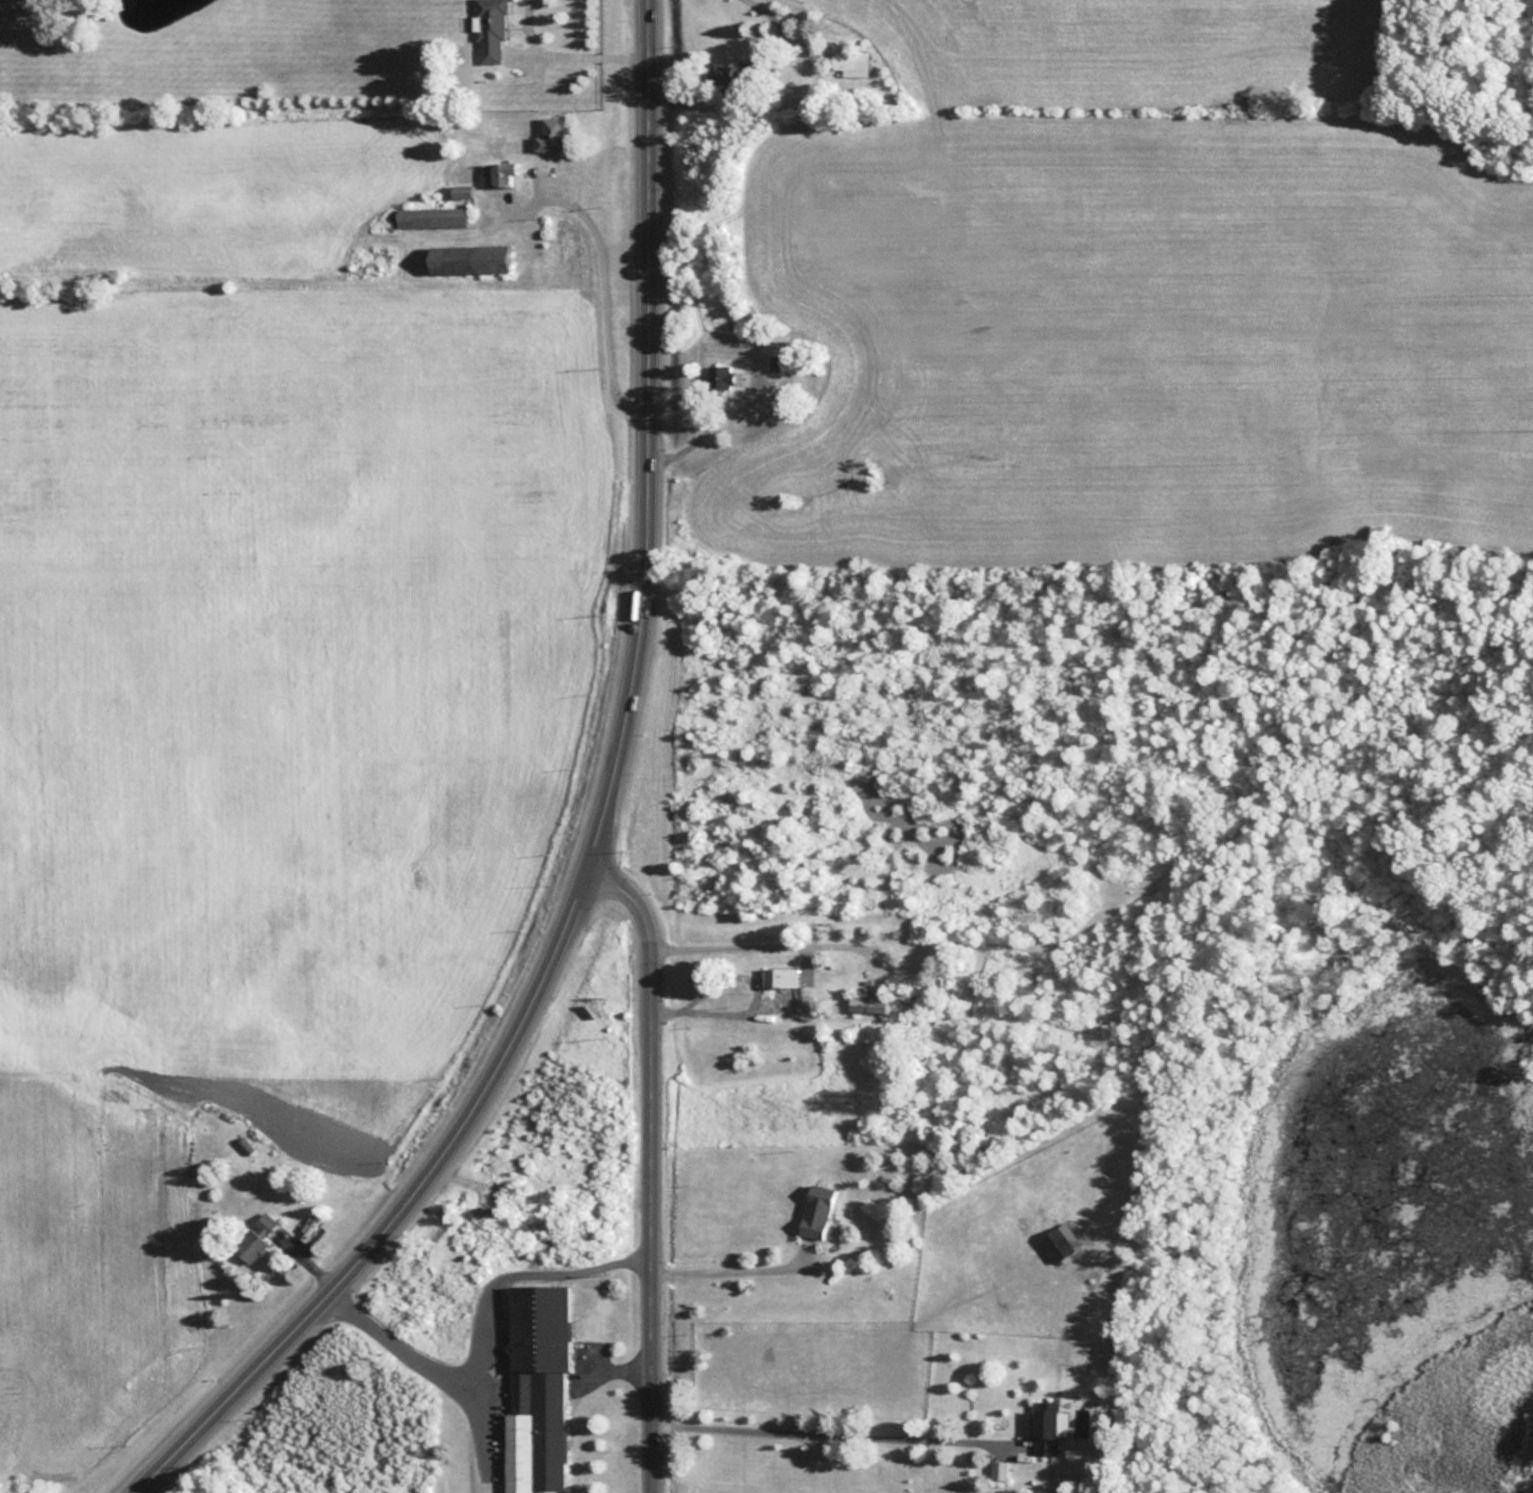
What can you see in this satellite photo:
building: (489, 31)
building: (849, 63)
building: (719, 75)
building: (552, 135)
building: (499, 172)
building: (461, 191)
building: (430, 217)
building: (468, 258)
building: (775, 362)
building: (719, 376)
road: (603, 823)
building: (779, 976)
building: (867, 1004)
building: (246, 1144)
road: (652, 1165)
building: (816, 1211)
building: (256, 1238)
building: (1060, 1241)
building: (536, 1390)
building: (1044, 1428)
building: (998, 1470)

